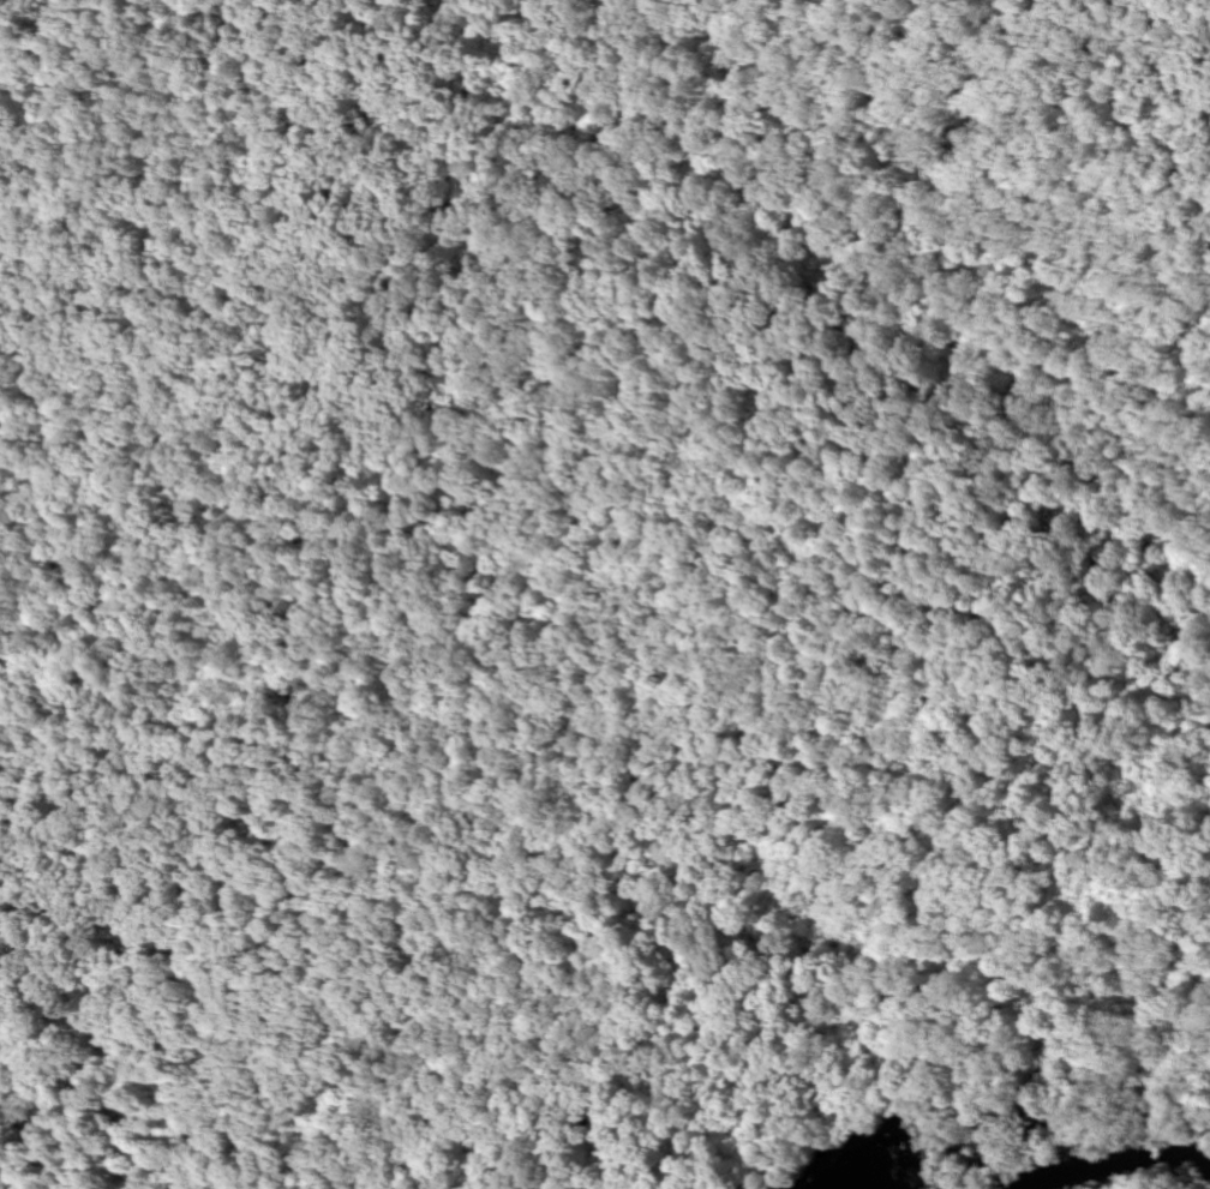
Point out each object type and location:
park: (580, 540)

